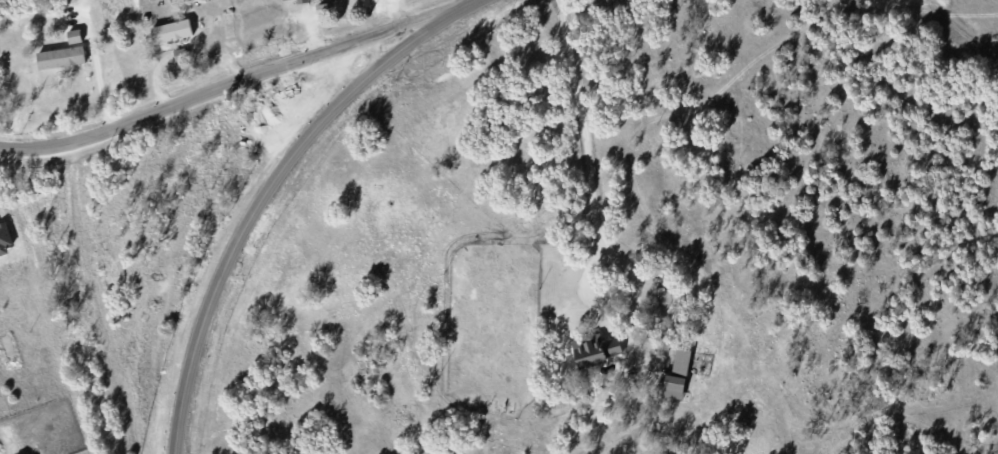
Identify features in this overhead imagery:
building: (303, 1)
building: (172, 30)
building: (75, 35)
building: (180, 54)
building: (61, 57)
road: (228, 77)
road: (580, 125)
road: (269, 187)
building: (5, 236)
road: (607, 300)
building: (597, 350)
building: (682, 360)
building: (674, 386)

